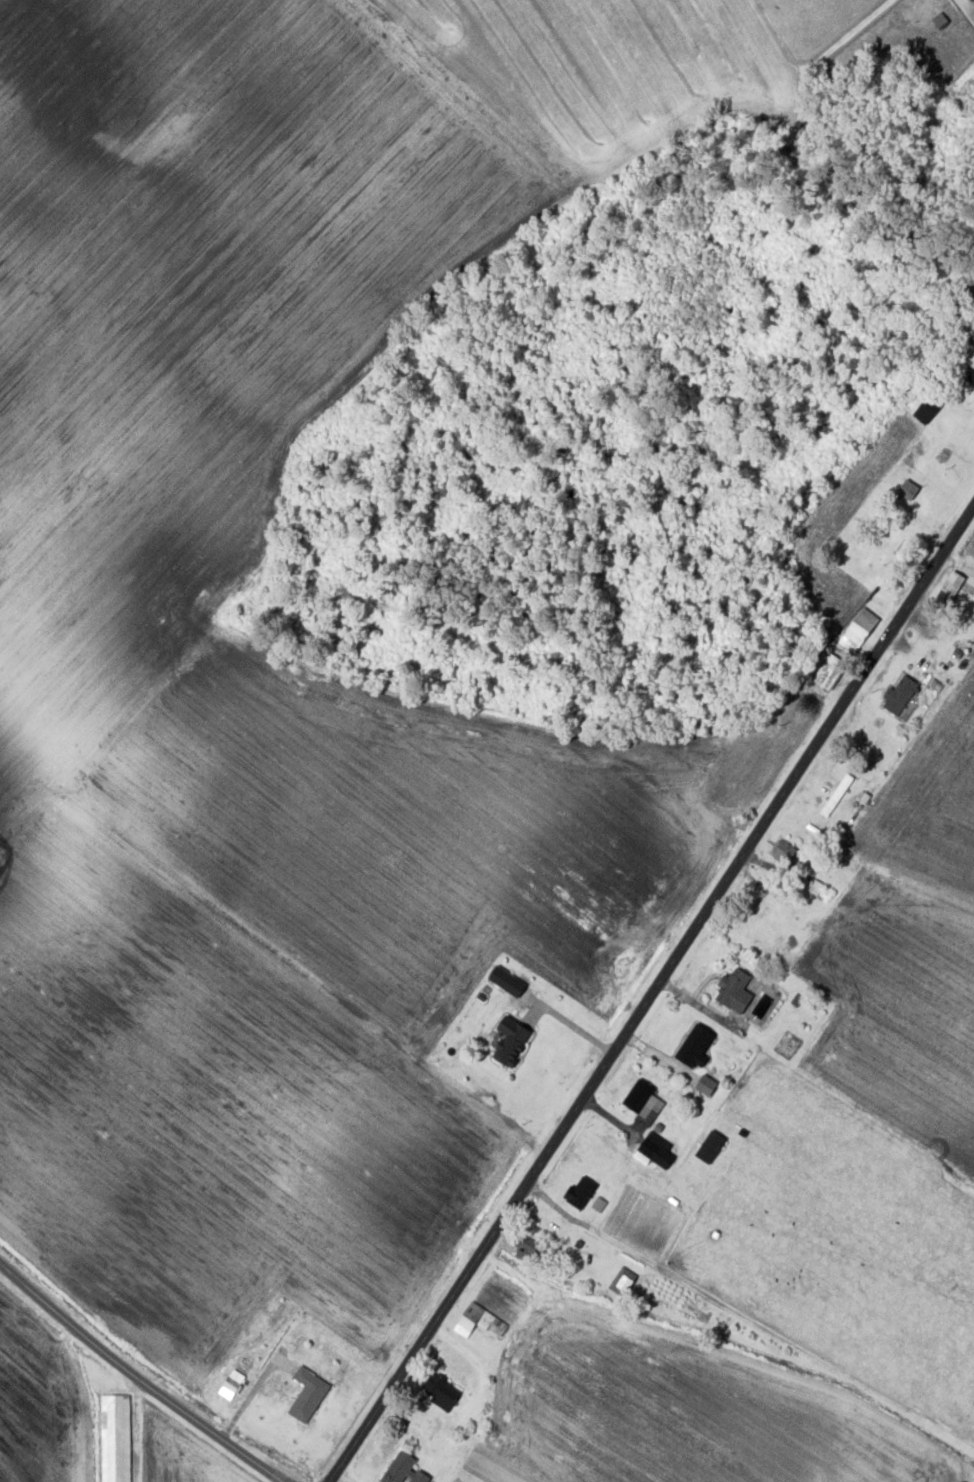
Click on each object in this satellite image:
building: (940, 21)
building: (970, 375)
building: (924, 407)
building: (909, 491)
road: (956, 557)
building: (951, 590)
building: (886, 598)
building: (973, 600)
building: (859, 633)
building: (830, 674)
building: (899, 699)
road: (762, 851)
building: (788, 856)
road: (645, 986)
building: (734, 993)
road: (697, 1002)
building: (511, 1043)
building: (695, 1048)
road: (651, 1051)
building: (706, 1087)
building: (642, 1100)
road: (605, 1136)
road: (626, 1147)
building: (648, 1148)
building: (581, 1193)
road: (549, 1202)
building: (524, 1249)
building: (623, 1283)
building: (479, 1323)
road: (473, 1362)
road: (140, 1377)
building: (308, 1395)
building: (443, 1395)
road: (428, 1427)
building: (116, 1438)
building: (404, 1470)
road: (347, 1476)

